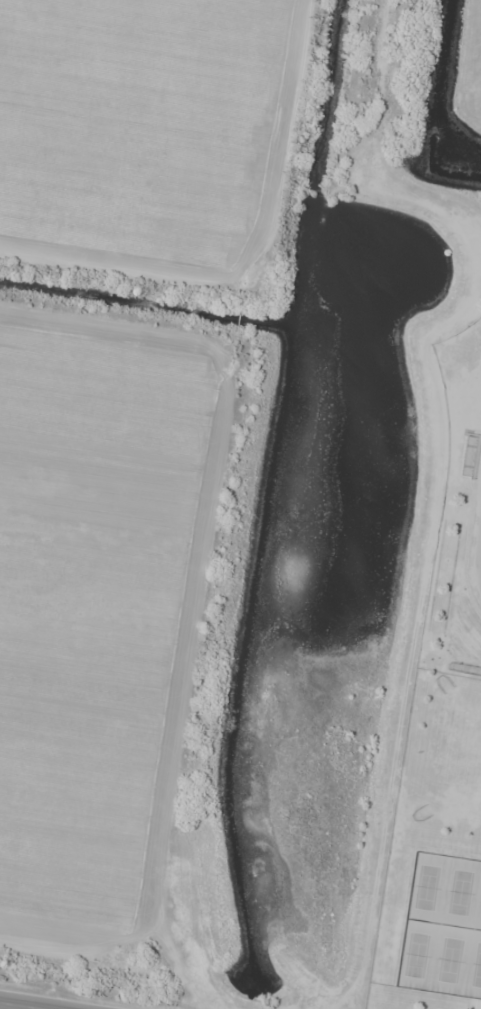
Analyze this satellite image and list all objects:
road: (18, 1006)

